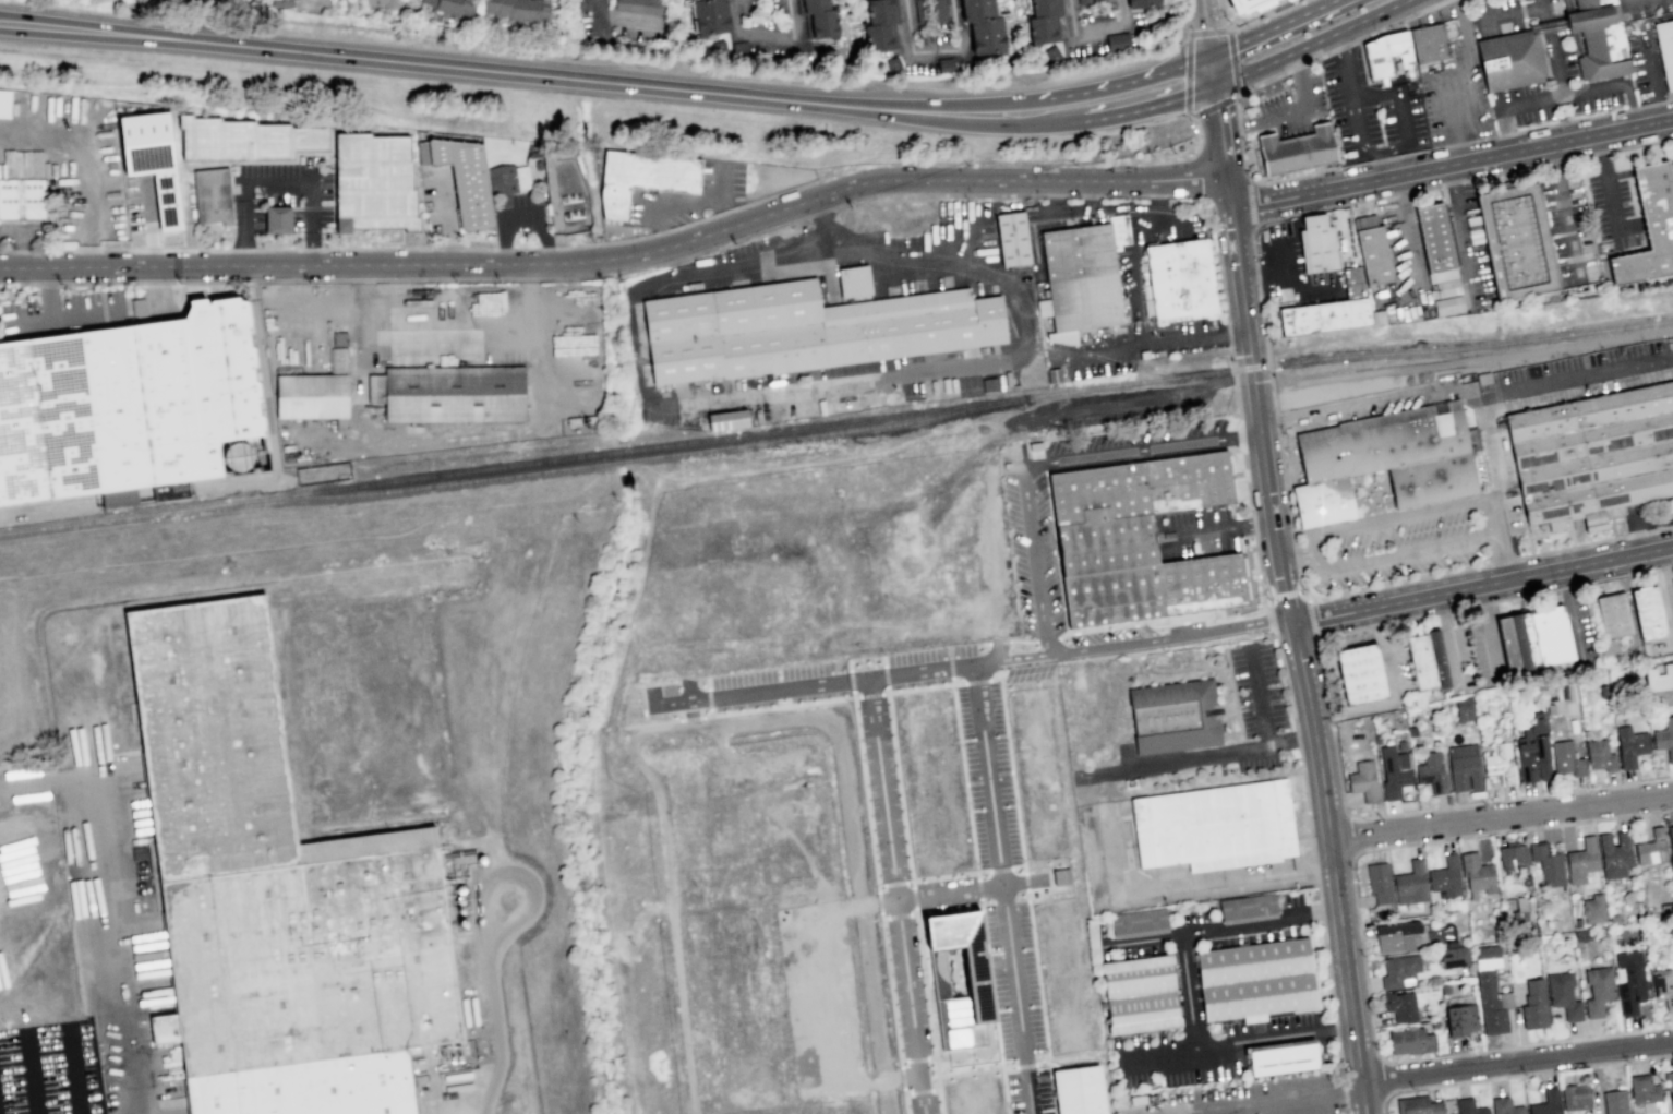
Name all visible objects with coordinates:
building: (208, 0)
building: (1098, 0)
building: (1286, 0)
road: (1637, 0)
road: (1672, 0)
building: (1084, 1)
building: (381, 2)
building: (1143, 2)
road: (1544, 2)
building: (813, 4)
building: (1247, 4)
building: (453, 5)
building: (645, 5)
building: (496, 7)
building: (1044, 7)
building: (976, 9)
building: (525, 11)
building: (880, 11)
building: (922, 11)
building: (938, 11)
road: (1515, 11)
building: (709, 16)
road: (1218, 16)
road: (1266, 16)
road: (626, 22)
road: (1400, 22)
building: (821, 23)
road: (1207, 27)
road: (1273, 27)
building: (1040, 28)
road: (1092, 28)
road: (1208, 31)
road: (772, 33)
building: (986, 34)
building: (879, 36)
building: (1599, 39)
building: (1118, 41)
road: (1311, 43)
road: (1340, 47)
building: (1429, 47)
building: (739, 48)
building: (1664, 49)
road: (935, 50)
road: (1555, 51)
building: (1051, 55)
building: (1388, 55)
traffic signals: (1212, 56)
road: (345, 58)
road: (1317, 58)
parking lot: (1558, 58)
building: (1510, 60)
road: (1233, 62)
building: (893, 65)
building: (944, 65)
road: (1344, 65)
road: (1297, 67)
road: (1213, 70)
road: (1187, 74)
road: (1648, 74)
road: (1468, 80)
road: (1128, 81)
road: (1261, 82)
traffic signals: (1215, 85)
parking lot: (1457, 85)
road: (1565, 98)
road: (1668, 101)
building: (4, 103)
road: (1007, 103)
road: (1653, 105)
road: (831, 106)
road: (1151, 106)
road: (1236, 106)
road: (1443, 106)
road: (1632, 106)
road: (1212, 107)
parking lot: (1289, 107)
parking lot: (1371, 110)
road: (1292, 113)
road: (1185, 115)
road: (1404, 119)
road: (1353, 121)
road: (1028, 124)
road: (1238, 125)
road: (1507, 131)
road: (1520, 131)
road: (1221, 132)
building: (245, 140)
building: (1297, 151)
road: (1384, 159)
building: (1672, 160)
building: (154, 161)
road: (1453, 165)
road: (1388, 166)
building: (643, 177)
building: (508, 179)
road: (1287, 179)
road: (278, 180)
road: (925, 180)
building: (465, 181)
road: (1609, 182)
building: (373, 184)
road: (780, 192)
road: (1092, 193)
road: (1394, 193)
power substation: (565, 194)
building: (212, 195)
road: (1056, 195)
road: (1072, 195)
road: (1090, 195)
road: (1124, 195)
road: (1158, 195)
road: (1190, 195)
parking lot: (687, 196)
building: (22, 202)
road: (685, 202)
road: (1252, 203)
road: (1116, 205)
road: (829, 207)
road: (729, 209)
road: (1564, 209)
parking lot: (1615, 209)
parking lot: (521, 216)
road: (1159, 216)
building: (277, 219)
road: (522, 220)
road: (689, 223)
road: (1042, 227)
road: (1459, 227)
parking lot: (1567, 227)
building: (1649, 227)
road: (659, 232)
road: (1405, 235)
building: (1433, 237)
road: (633, 238)
building: (1012, 238)
road: (953, 241)
building: (1515, 241)
road: (605, 243)
building: (1315, 244)
road: (575, 245)
road: (547, 248)
road: (248, 249)
road: (502, 249)
road: (526, 249)
building: (1373, 254)
road: (626, 256)
road: (607, 259)
road: (586, 261)
road: (1220, 263)
road: (288, 265)
road: (610, 274)
road: (1133, 274)
road: (425, 278)
building: (1081, 279)
building: (1180, 279)
building: (854, 280)
road: (155, 282)
road: (46, 283)
road: (16, 288)
road: (48, 295)
building: (490, 303)
building: (139, 307)
parking lot: (65, 308)
building: (1329, 309)
road: (86, 318)
road: (29, 325)
building: (805, 328)
road: (1229, 335)
building: (339, 338)
road: (1152, 342)
railway: (1126, 363)
railway: (842, 368)
railway: (1150, 380)
road: (796, 390)
road: (1502, 390)
road: (1369, 392)
building: (448, 393)
building: (311, 396)
parking lot: (1514, 396)
railway: (1123, 399)
building: (130, 405)
road: (270, 407)
road: (1155, 410)
building: (727, 419)
railway: (825, 433)
railway: (868, 435)
railway: (622, 451)
railway: (870, 454)
building: (1382, 459)
railway: (623, 460)
building: (1592, 460)
road: (1050, 463)
road: (1384, 467)
road: (624, 479)
railway: (230, 482)
railway: (431, 487)
building: (170, 490)
railway: (143, 492)
railway: (306, 492)
road: (147, 495)
building: (118, 498)
railway: (47, 504)
road: (46, 510)
road: (306, 520)
road: (1217, 528)
railway: (956, 531)
building: (1139, 541)
parking lot: (1404, 549)
road: (988, 550)
parking lot: (1015, 551)
road: (1293, 553)
road: (1308, 553)
road: (1506, 559)
building: (1672, 584)
road: (1484, 585)
road: (1374, 588)
railway: (822, 598)
building: (1647, 614)
building: (1613, 616)
road: (1312, 620)
road: (1229, 623)
building: (1552, 637)
road: (1020, 639)
building: (1517, 643)
road: (1108, 645)
road: (1302, 646)
road: (996, 647)
parking lot: (914, 656)
road: (1011, 658)
road: (882, 660)
building: (1425, 662)
road: (847, 664)
road: (949, 667)
parking lot: (814, 668)
road: (884, 675)
building: (1359, 675)
building: (1658, 676)
parking lot: (743, 678)
road: (850, 679)
parking lot: (917, 681)
road: (810, 684)
road: (886, 688)
parking lot: (1256, 690)
road: (686, 691)
road: (881, 692)
building: (1556, 692)
road: (851, 693)
road: (869, 694)
road: (855, 695)
road: (650, 697)
road: (708, 697)
parking lot: (778, 698)
road: (1259, 698)
road: (1253, 703)
road: (780, 705)
road: (616, 708)
building: (1463, 708)
building: (1549, 708)
road: (709, 710)
road: (1329, 711)
road: (703, 716)
building: (1172, 717)
road: (688, 718)
road: (650, 722)
road: (735, 723)
road: (1297, 729)
road: (890, 730)
road: (1295, 738)
building: (1664, 738)
building: (1629, 745)
building: (1532, 751)
road: (727, 755)
building: (1599, 755)
building: (1566, 758)
road: (1169, 760)
parking lot: (1257, 762)
building: (1500, 763)
building: (1464, 766)
building: (1394, 771)
building: (1431, 772)
parking lot: (986, 775)
road: (963, 777)
building: (1363, 781)
parking lot: (891, 783)
parking lot: (870, 789)
road: (863, 790)
road: (1503, 816)
building: (1215, 826)
road: (1350, 834)
road: (50, 840)
building: (1670, 842)
building: (1651, 848)
building: (1614, 854)
building: (1513, 855)
road: (808, 858)
building: (1580, 861)
building: (1548, 863)
road: (982, 871)
building: (1477, 873)
road: (513, 874)
road: (942, 876)
building: (1060, 876)
building: (1445, 878)
building: (1411, 881)
building: (1526, 881)
parking lot: (941, 882)
building: (1379, 882)
road: (1175, 887)
road: (959, 889)
road: (1000, 889)
building: (274, 893)
road: (1025, 895)
road: (893, 896)
parking lot: (1291, 898)
road: (109, 899)
building: (1248, 909)
building: (1592, 909)
building: (1518, 911)
road: (880, 917)
parking lot: (1191, 917)
building: (1613, 919)
building: (1576, 922)
building: (1139, 924)
building: (1533, 929)
parking lot: (1250, 935)
building: (1393, 935)
building: (1582, 935)
road: (1143, 942)
building: (1451, 942)
road: (1361, 944)
parking lot: (1140, 948)
building: (1453, 956)
building: (1398, 970)
building: (975, 972)
parking lot: (1013, 978)
building: (1629, 981)
building: (1256, 982)
parking lot: (914, 985)
building: (1662, 986)
road: (889, 989)
building: (1444, 989)
building: (1489, 989)
parking lot: (895, 990)
building: (1598, 990)
road: (1187, 993)
building: (1562, 994)
building: (1140, 995)
building: (1533, 1005)
building: (1400, 1006)
road: (822, 1009)
building: (1460, 1019)
building: (1433, 1023)
parking lot: (1267, 1025)
road: (500, 1034)
building: (1410, 1041)
road: (1159, 1053)
building: (1280, 1058)
road: (1519, 1063)
road: (1023, 1065)
road: (999, 1067)
parking lot: (48, 1070)
road: (75, 1073)
parking lot: (1199, 1074)
road: (899, 1075)
road: (1519, 1075)
road: (31, 1076)
road: (1382, 1078)
parking lot: (1138, 1079)
road: (936, 1081)
building: (1669, 1086)
building: (1642, 1088)
building: (1078, 1090)
road: (1002, 1091)
parking lot: (1027, 1091)
building: (1575, 1097)
parking lot: (1275, 1098)
road: (937, 1101)
building: (1614, 1101)
road: (1277, 1102)
road: (904, 1103)
parking lot: (930, 1103)
building: (1545, 1103)
parking lot: (910, 1105)
building: (1417, 1105)
building: (1468, 1106)
building: (1504, 1106)

